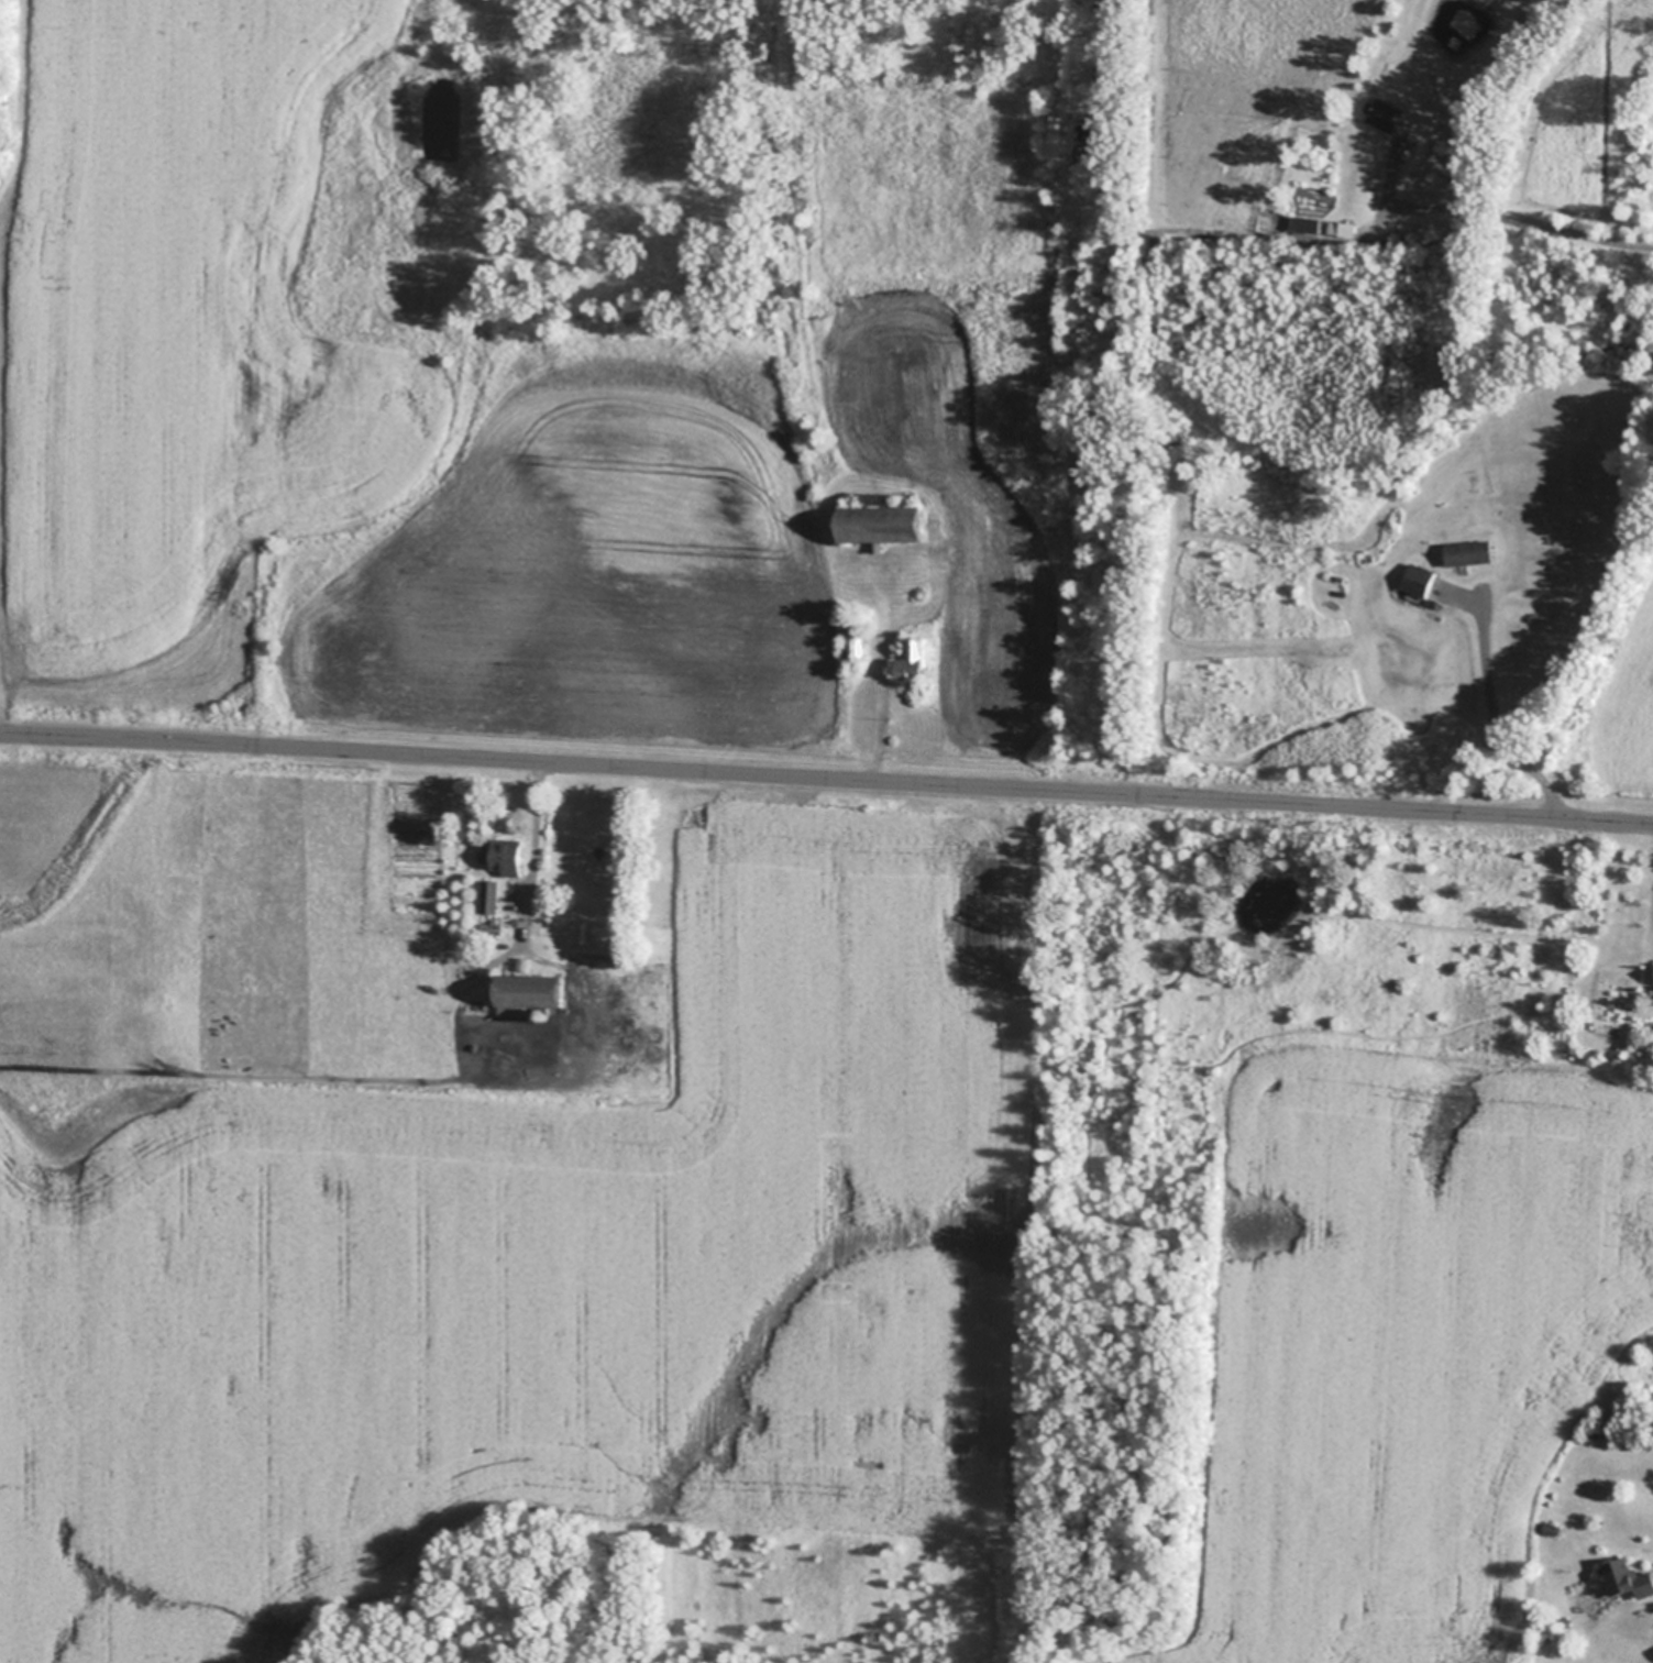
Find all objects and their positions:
building: (1389, 114)
road: (1525, 216)
building: (1309, 224)
building: (1345, 229)
building: (1406, 240)
building: (822, 361)
building: (901, 498)
building: (882, 527)
building: (1399, 528)
building: (1472, 552)
building: (1420, 580)
building: (856, 636)
building: (915, 657)
road: (826, 777)
building: (507, 855)
building: (493, 897)
building: (531, 991)
building: (1571, 998)
building: (546, 1015)
building: (1595, 1433)
building: (1553, 1529)
building: (1630, 1579)

